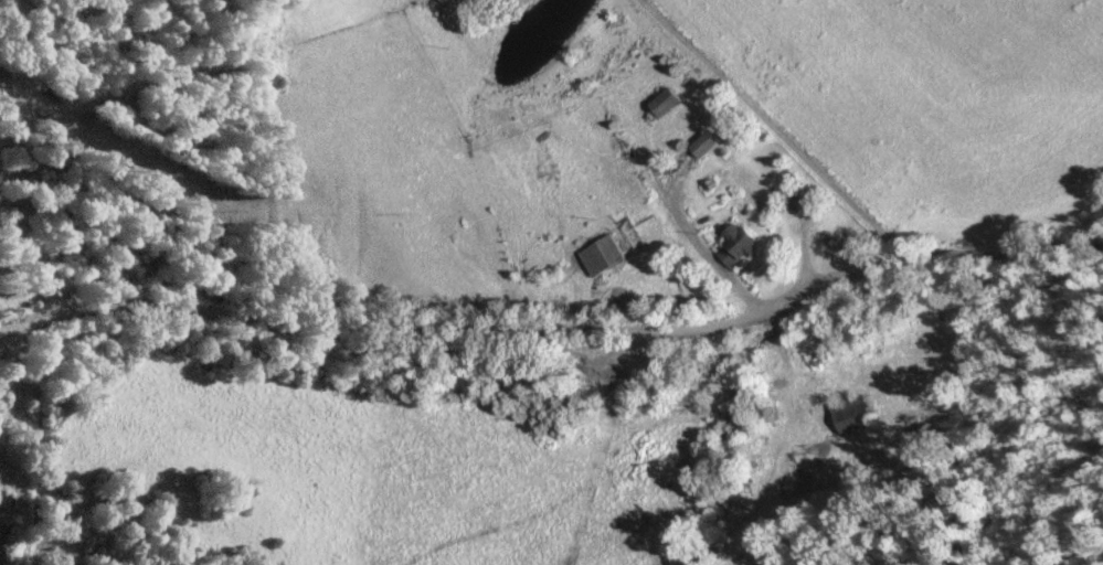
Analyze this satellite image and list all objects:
building: (669, 103)
road: (782, 121)
building: (708, 146)
building: (740, 245)
building: (605, 256)
road: (547, 317)
building: (853, 415)

